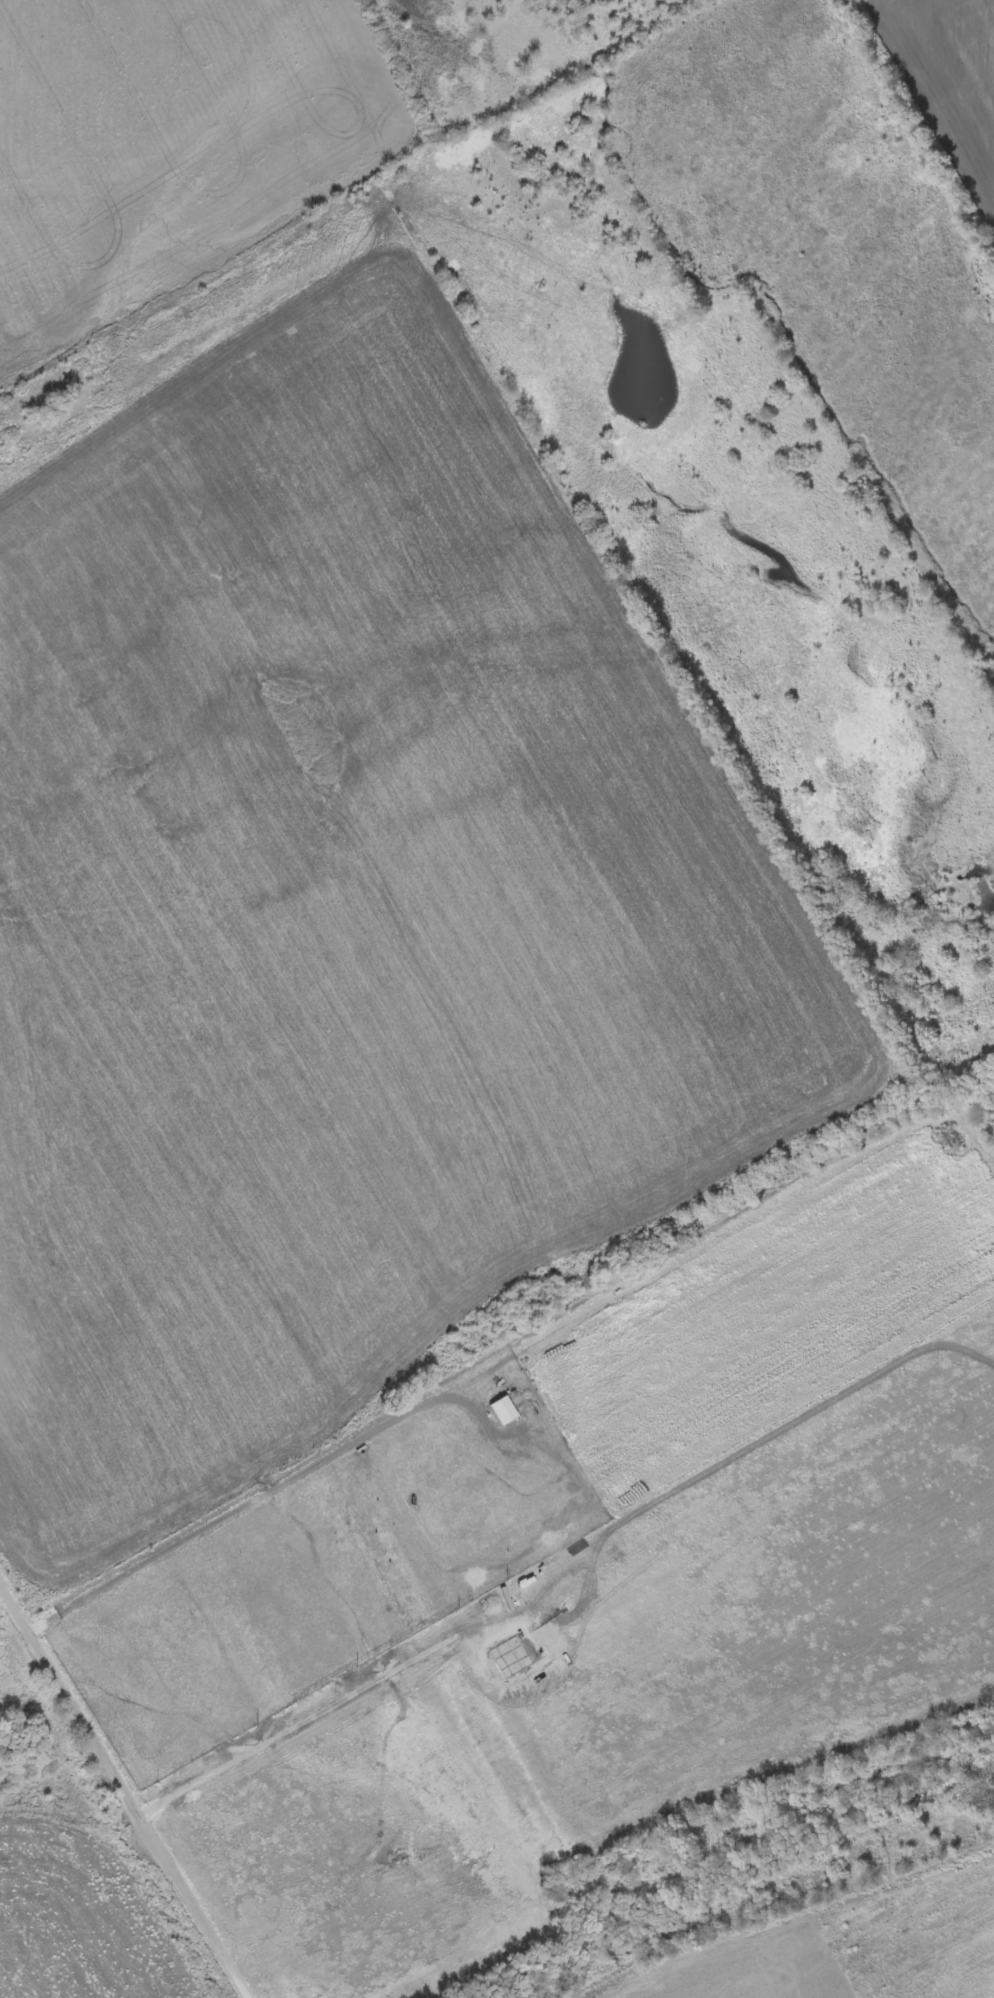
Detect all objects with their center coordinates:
road: (123, 1793)

